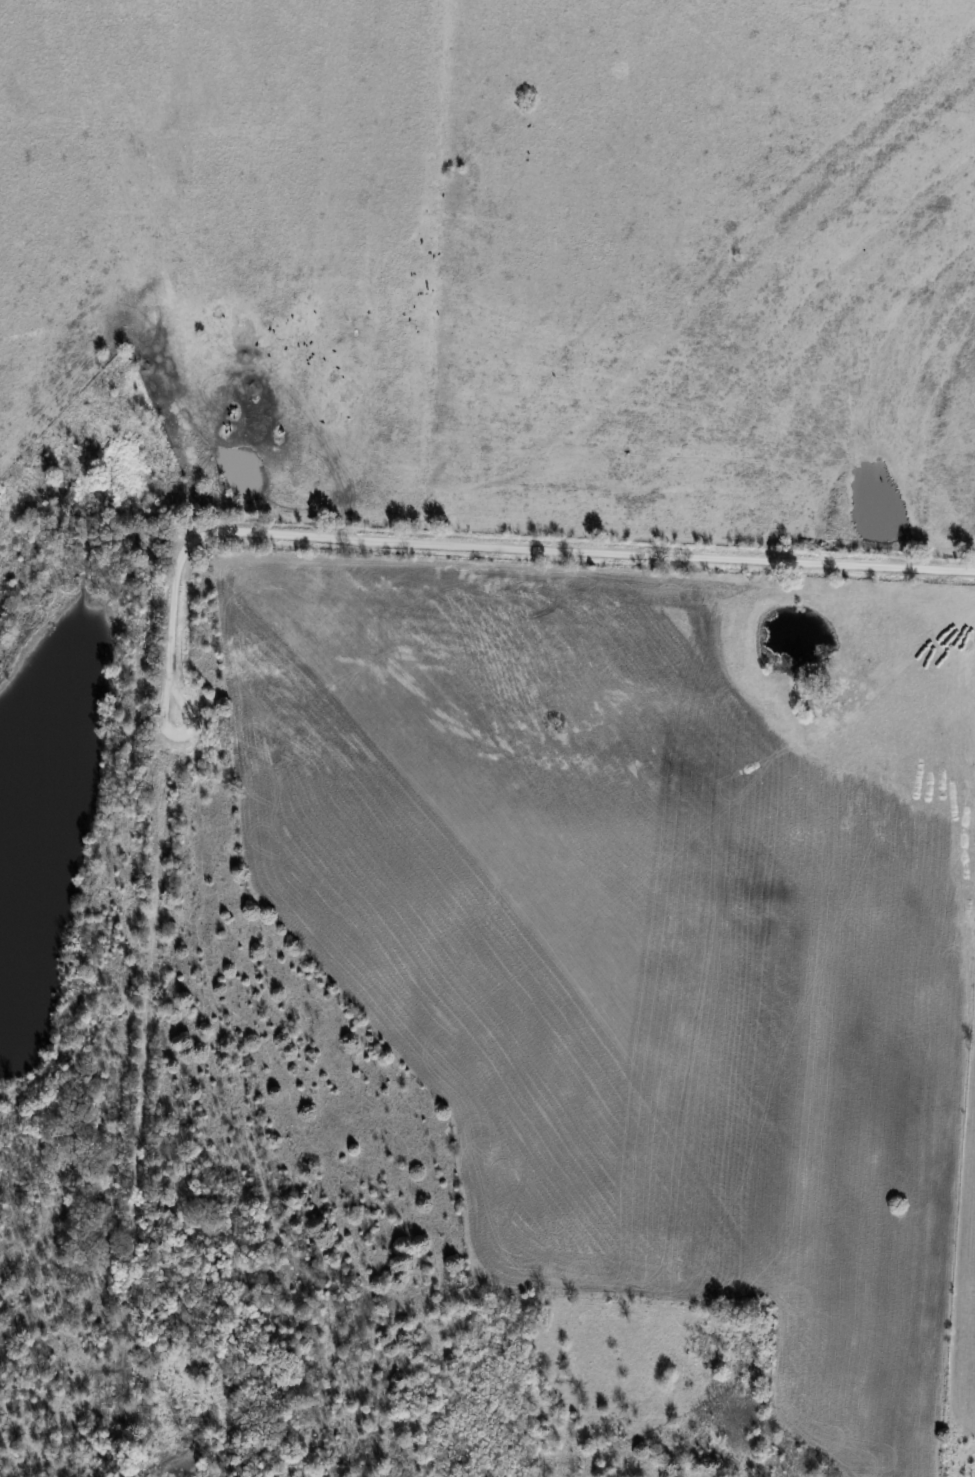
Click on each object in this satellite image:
road: (558, 551)
road: (167, 695)

